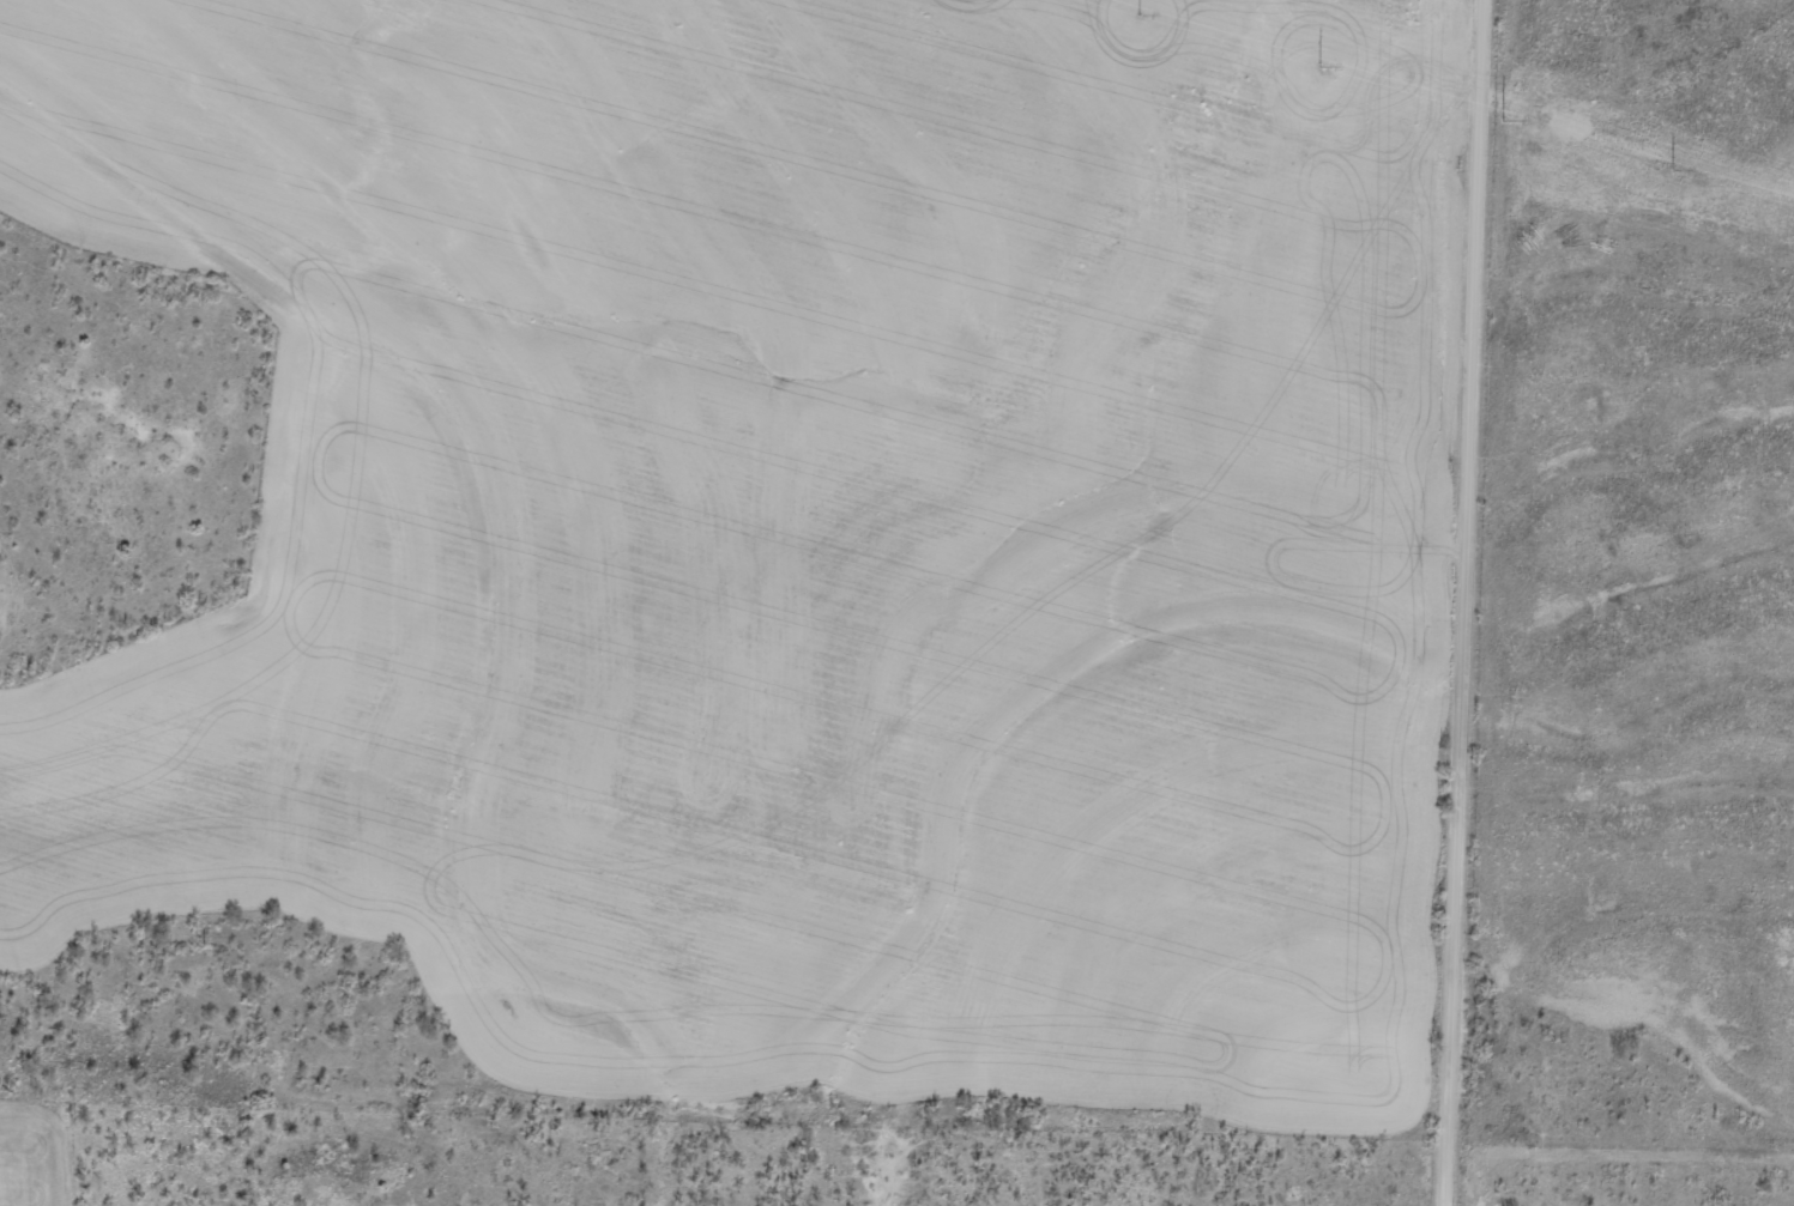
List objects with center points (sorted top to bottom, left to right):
road: (1469, 602)

